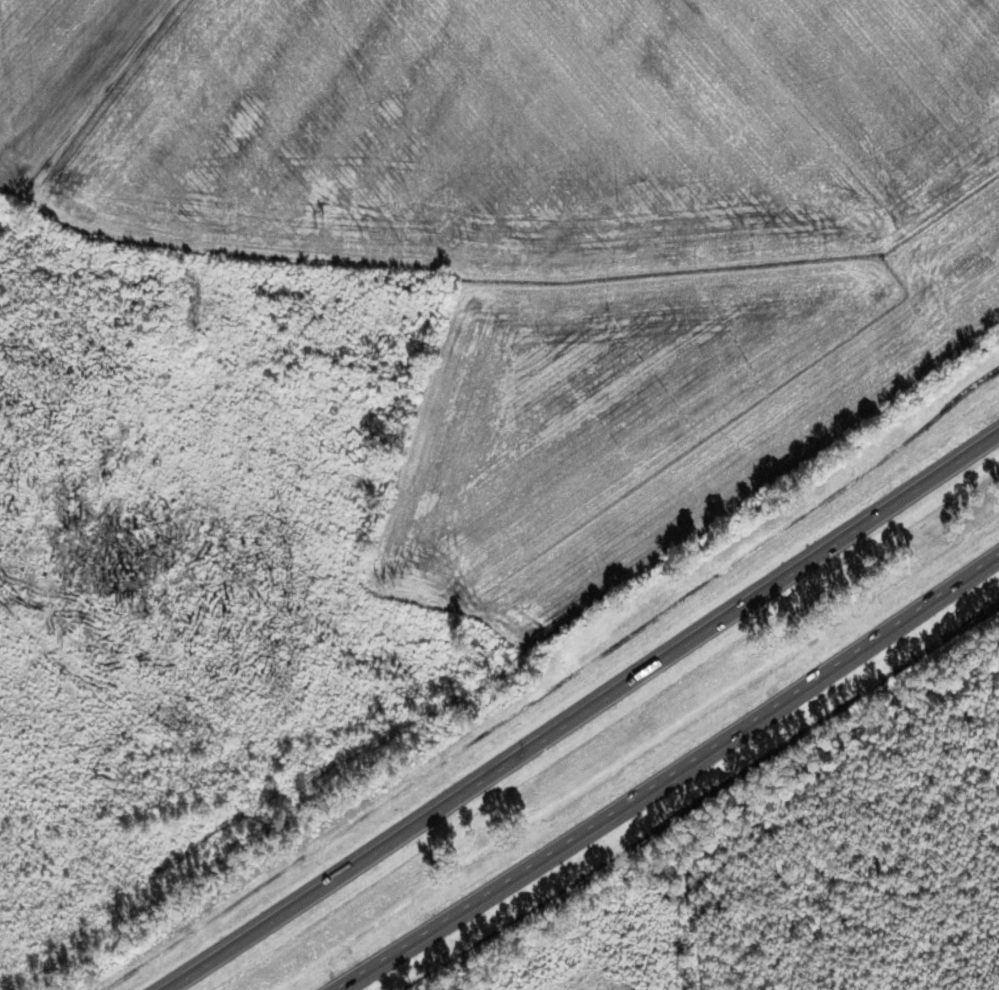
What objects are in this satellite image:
road: (575, 710)
road: (671, 779)

